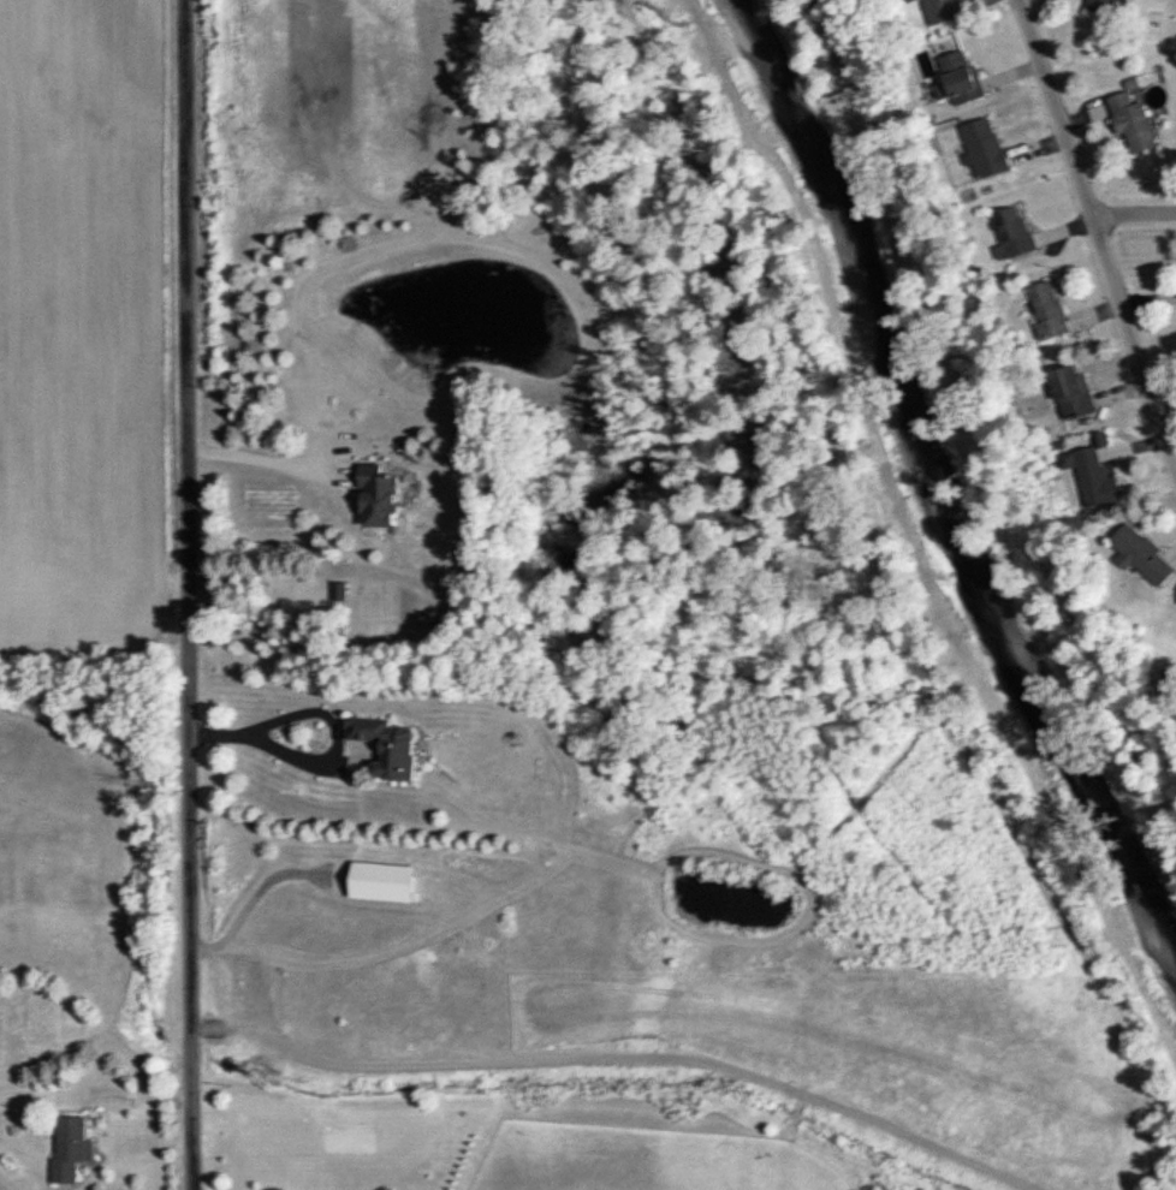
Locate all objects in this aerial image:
building: (907, 1)
building: (1103, 6)
building: (937, 11)
building: (956, 79)
building: (1129, 123)
building: (982, 149)
road: (1133, 213)
building: (1011, 232)
road: (1098, 236)
building: (1046, 310)
building: (1069, 394)
road: (262, 456)
building: (1089, 476)
building: (370, 499)
building: (1139, 557)
road: (186, 595)
building: (375, 750)
road: (322, 755)
building: (65, 1149)

